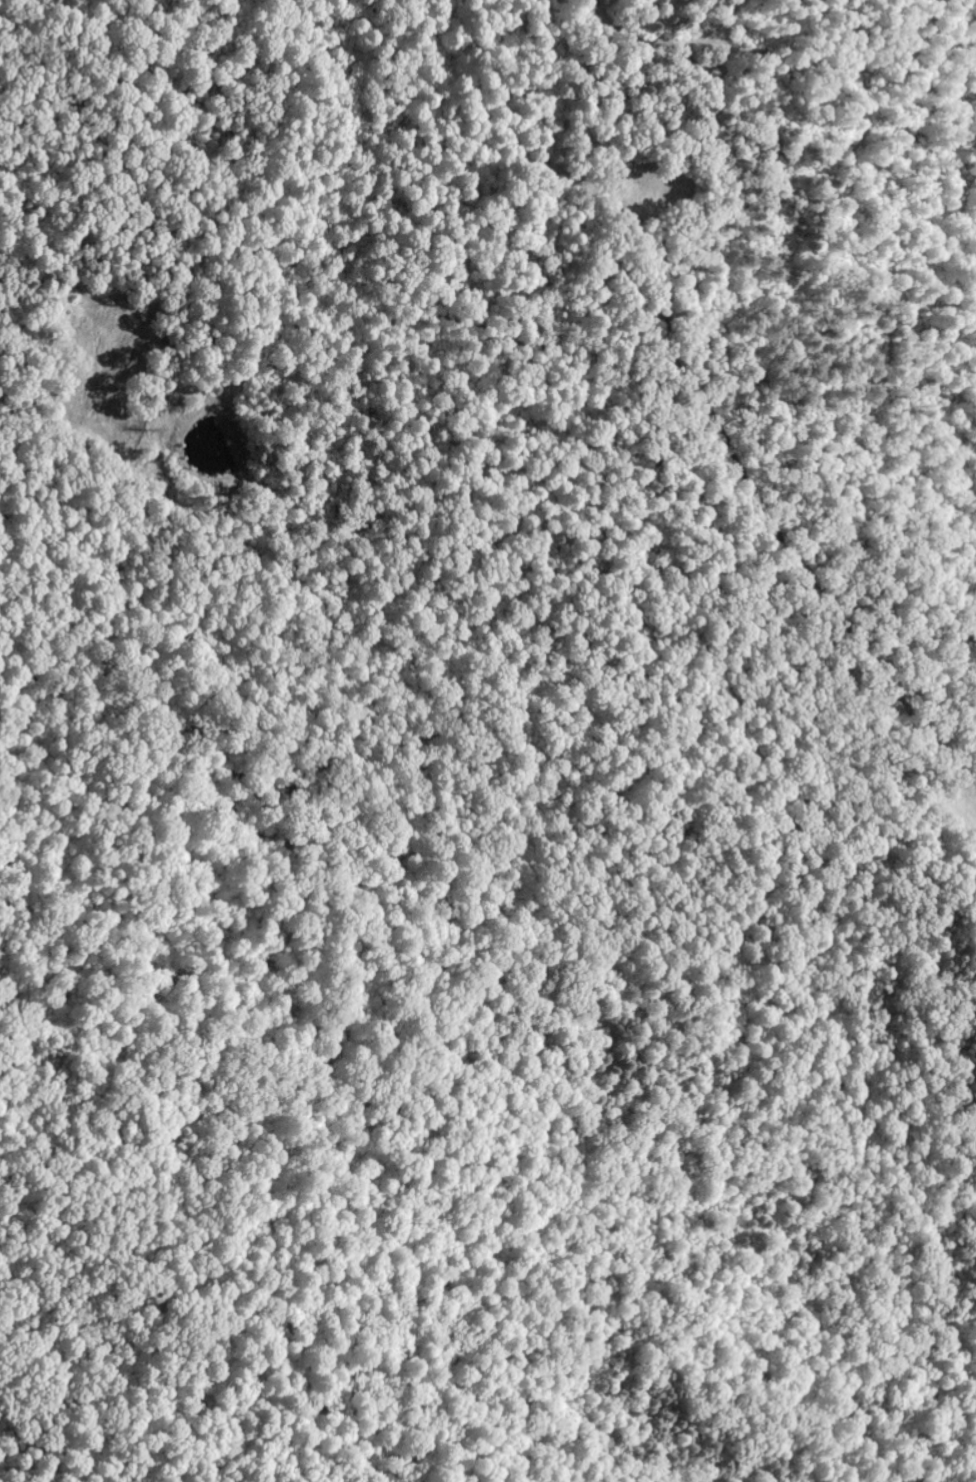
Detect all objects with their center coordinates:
road: (29, 1221)

